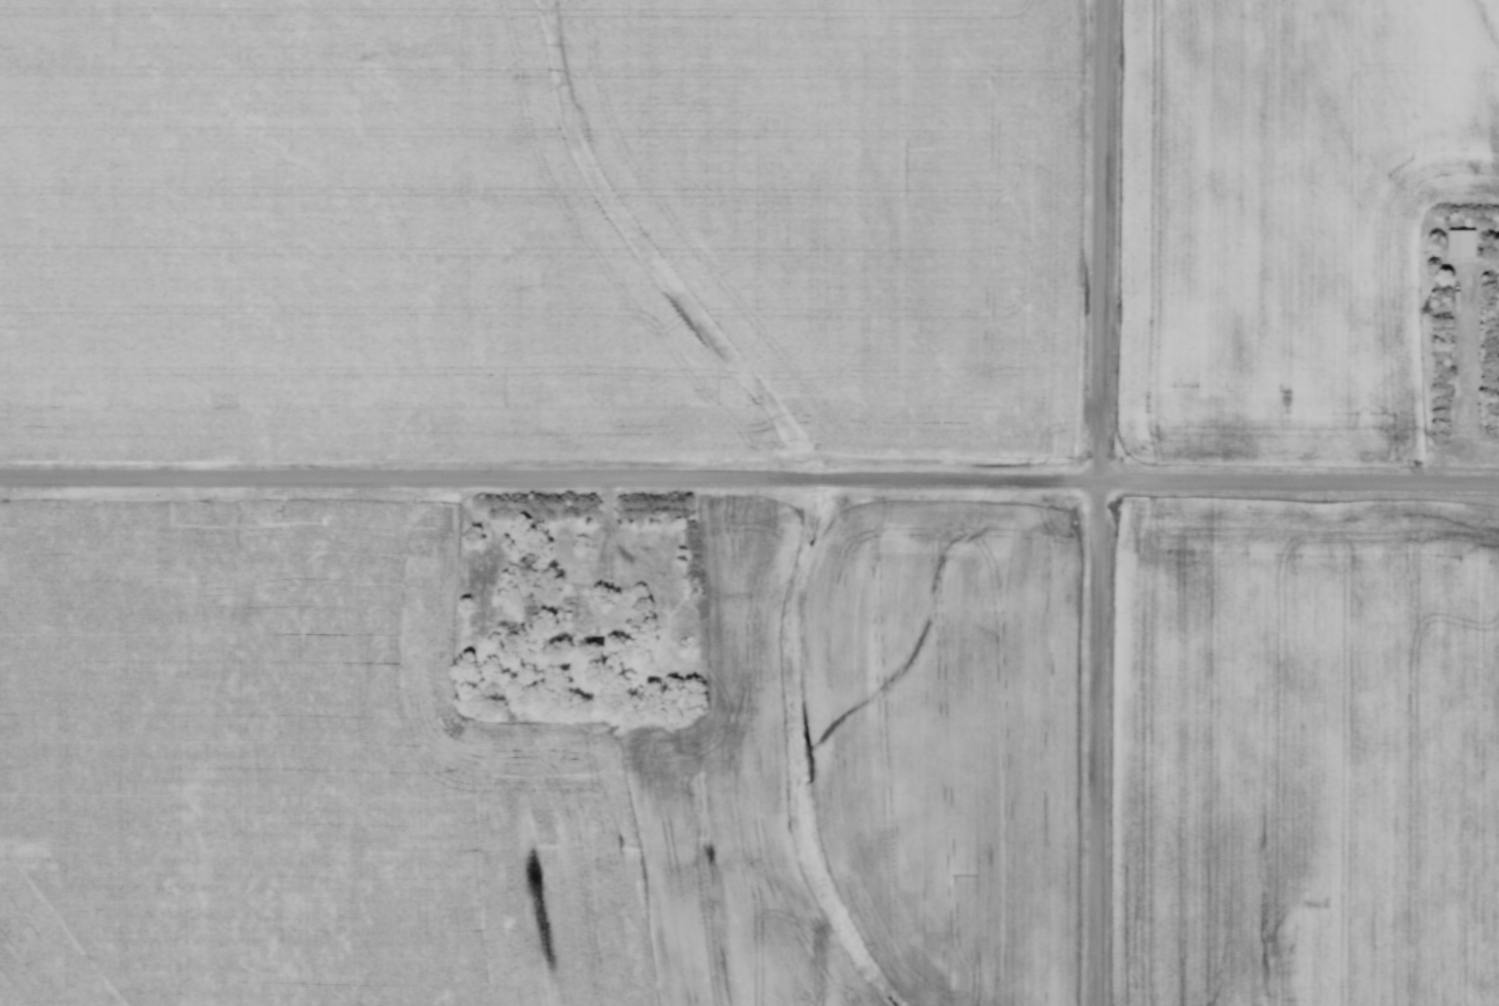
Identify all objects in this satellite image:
road: (749, 479)
road: (1100, 502)
road: (612, 543)
building: (560, 611)

